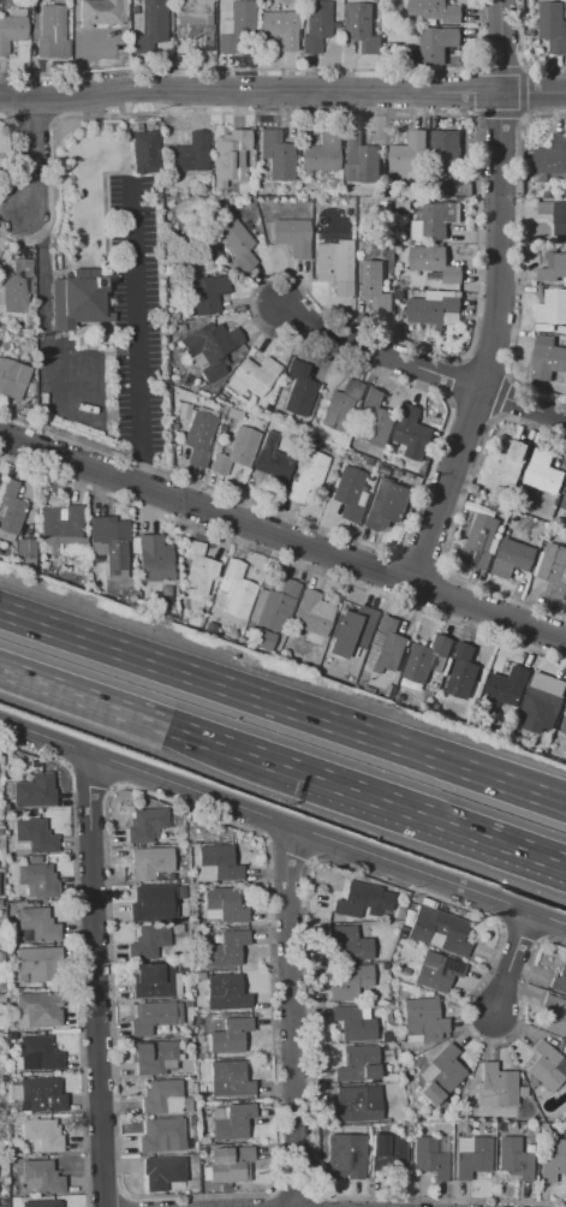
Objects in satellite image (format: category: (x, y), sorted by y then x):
building: (208, 6)
building: (434, 11)
building: (102, 12)
building: (153, 24)
building: (193, 25)
building: (316, 25)
building: (361, 25)
building: (553, 25)
building: (379, 26)
building: (12, 28)
building: (280, 29)
building: (237, 30)
building: (52, 32)
building: (437, 43)
road: (282, 90)
building: (446, 148)
building: (144, 151)
building: (410, 151)
building: (321, 153)
building: (189, 155)
building: (275, 155)
building: (230, 156)
road: (28, 157)
building: (359, 159)
building: (550, 159)
building: (550, 194)
building: (403, 204)
building: (555, 214)
building: (435, 221)
building: (292, 237)
building: (234, 243)
building: (434, 263)
building: (332, 269)
building: (554, 269)
building: (374, 285)
building: (17, 287)
building: (208, 293)
building: (399, 295)
road: (499, 297)
building: (77, 298)
building: (550, 308)
building: (435, 309)
road: (136, 335)
building: (211, 349)
building: (547, 357)
road: (422, 365)
building: (252, 376)
building: (12, 379)
road: (55, 386)
building: (30, 387)
building: (298, 388)
building: (340, 405)
building: (184, 411)
building: (377, 418)
building: (412, 433)
building: (198, 438)
building: (236, 451)
building: (272, 460)
building: (505, 465)
building: (543, 472)
building: (306, 475)
building: (348, 493)
building: (477, 493)
building: (386, 504)
building: (564, 504)
building: (482, 509)
building: (10, 510)
building: (61, 525)
road: (282, 535)
building: (481, 542)
building: (109, 543)
building: (25, 548)
building: (153, 558)
building: (512, 558)
building: (197, 569)
building: (553, 570)
building: (236, 589)
building: (165, 590)
building: (133, 594)
building: (274, 606)
building: (312, 616)
building: (351, 631)
building: (264, 640)
building: (387, 644)
building: (428, 659)
building: (463, 671)
building: (507, 684)
building: (544, 698)
road: (282, 708)
building: (477, 717)
road: (148, 718)
building: (564, 726)
building: (541, 747)
building: (34, 791)
road: (431, 816)
road: (282, 824)
building: (144, 825)
building: (35, 834)
building: (148, 862)
building: (220, 862)
building: (37, 880)
building: (362, 900)
building: (153, 903)
building: (225, 904)
building: (37, 923)
building: (439, 930)
building: (147, 941)
building: (348, 944)
building: (225, 949)
building: (38, 964)
road: (512, 965)
building: (435, 970)
road: (95, 980)
building: (153, 980)
building: (348, 982)
building: (558, 983)
building: (226, 993)
building: (37, 1010)
building: (555, 1015)
road: (291, 1016)
building: (150, 1017)
building: (423, 1018)
building: (352, 1024)
building: (230, 1036)
building: (38, 1054)
building: (151, 1056)
building: (356, 1065)
building: (544, 1066)
building: (441, 1075)
building: (230, 1082)
building: (495, 1087)
building: (41, 1095)
building: (161, 1096)
building: (356, 1104)
building: (232, 1123)
building: (42, 1134)
building: (161, 1136)
building: (387, 1154)
building: (345, 1157)
building: (430, 1157)
building: (472, 1158)
building: (514, 1159)
building: (553, 1163)
building: (230, 1164)
building: (161, 1172)
building: (41, 1177)
road: (195, 1185)
building: (41, 1203)

